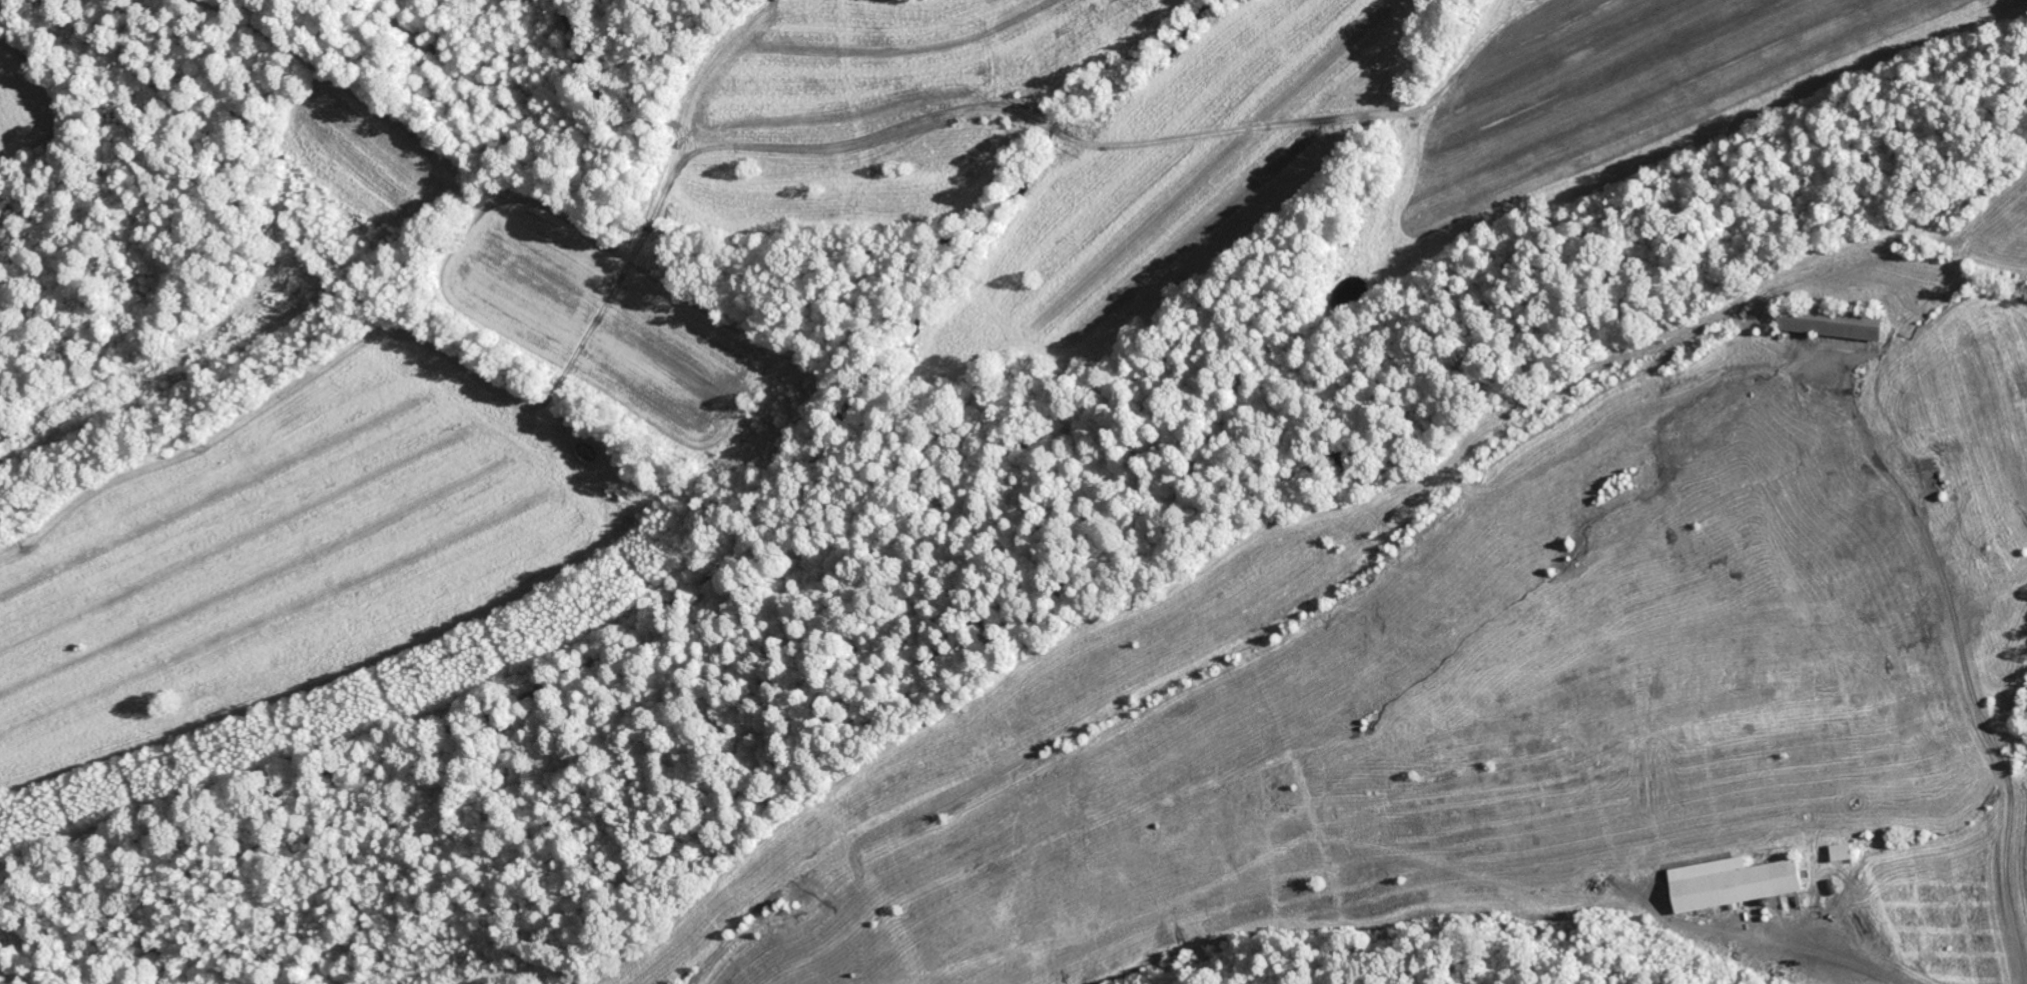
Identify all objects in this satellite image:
building: (1831, 323)
building: (1731, 883)

